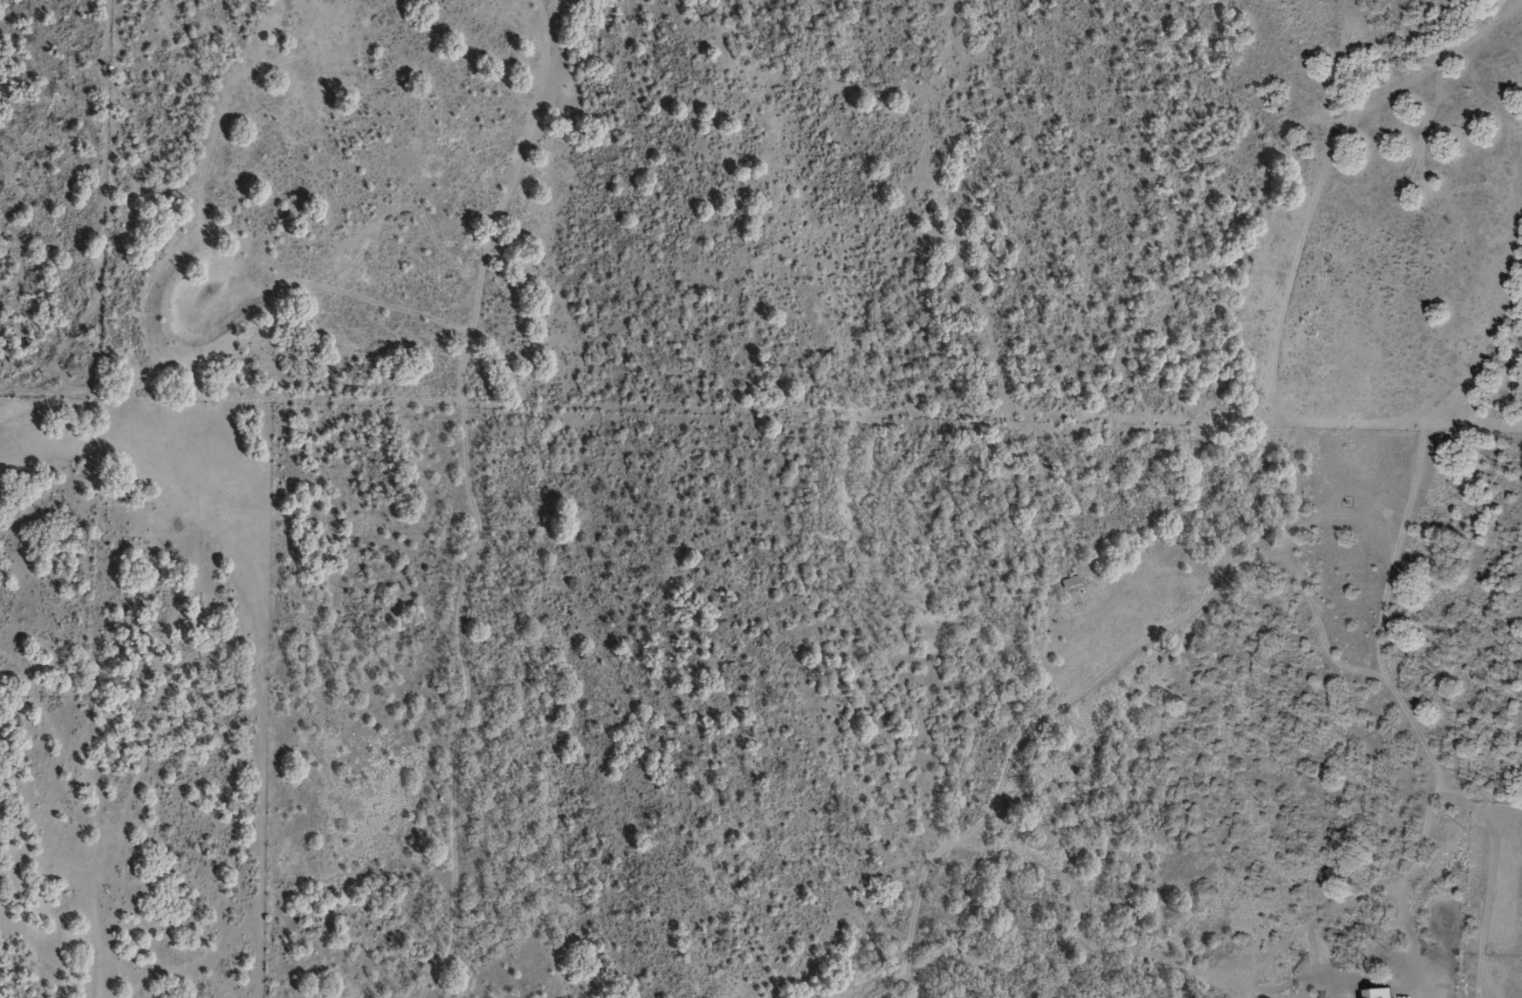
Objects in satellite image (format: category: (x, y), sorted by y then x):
road: (419, 520)
road: (900, 854)

